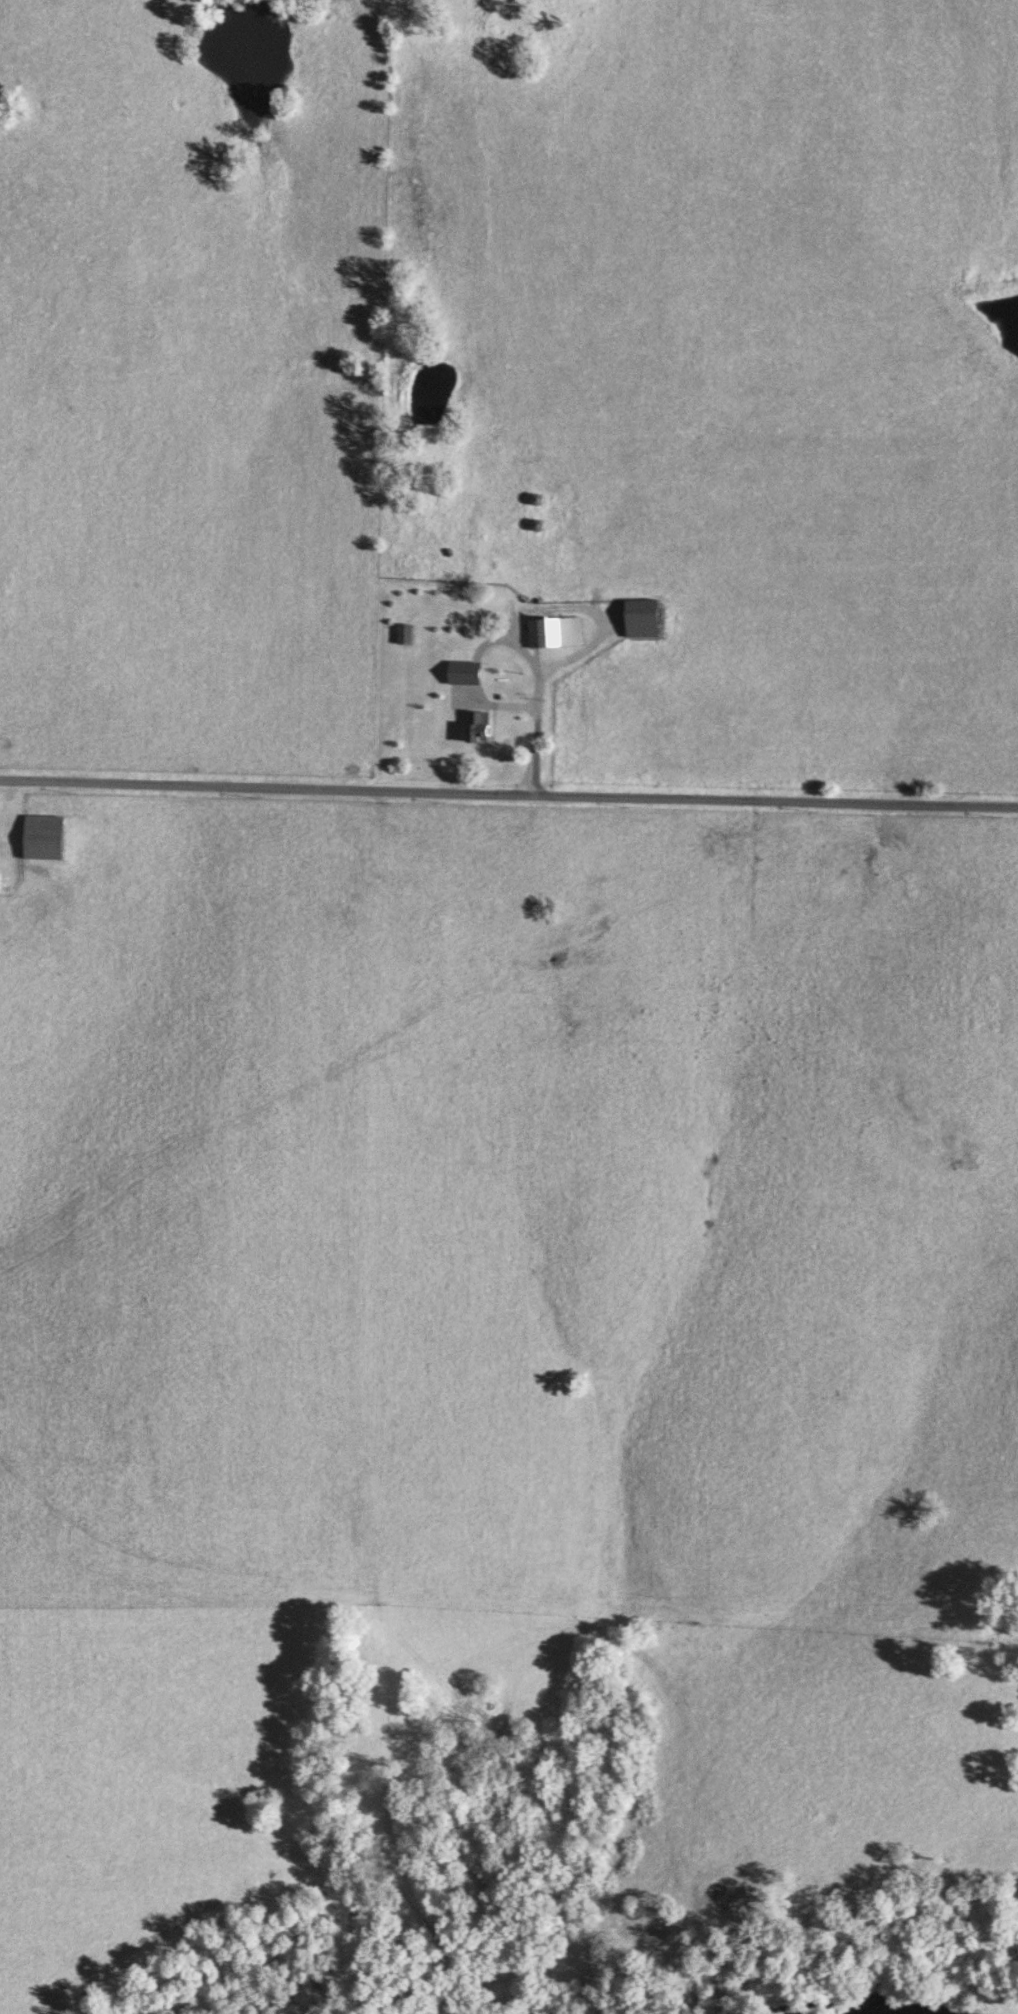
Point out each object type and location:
building: (642, 617)
building: (554, 631)
building: (404, 632)
building: (460, 654)
building: (476, 720)
road: (535, 734)
road: (508, 797)
building: (43, 835)

